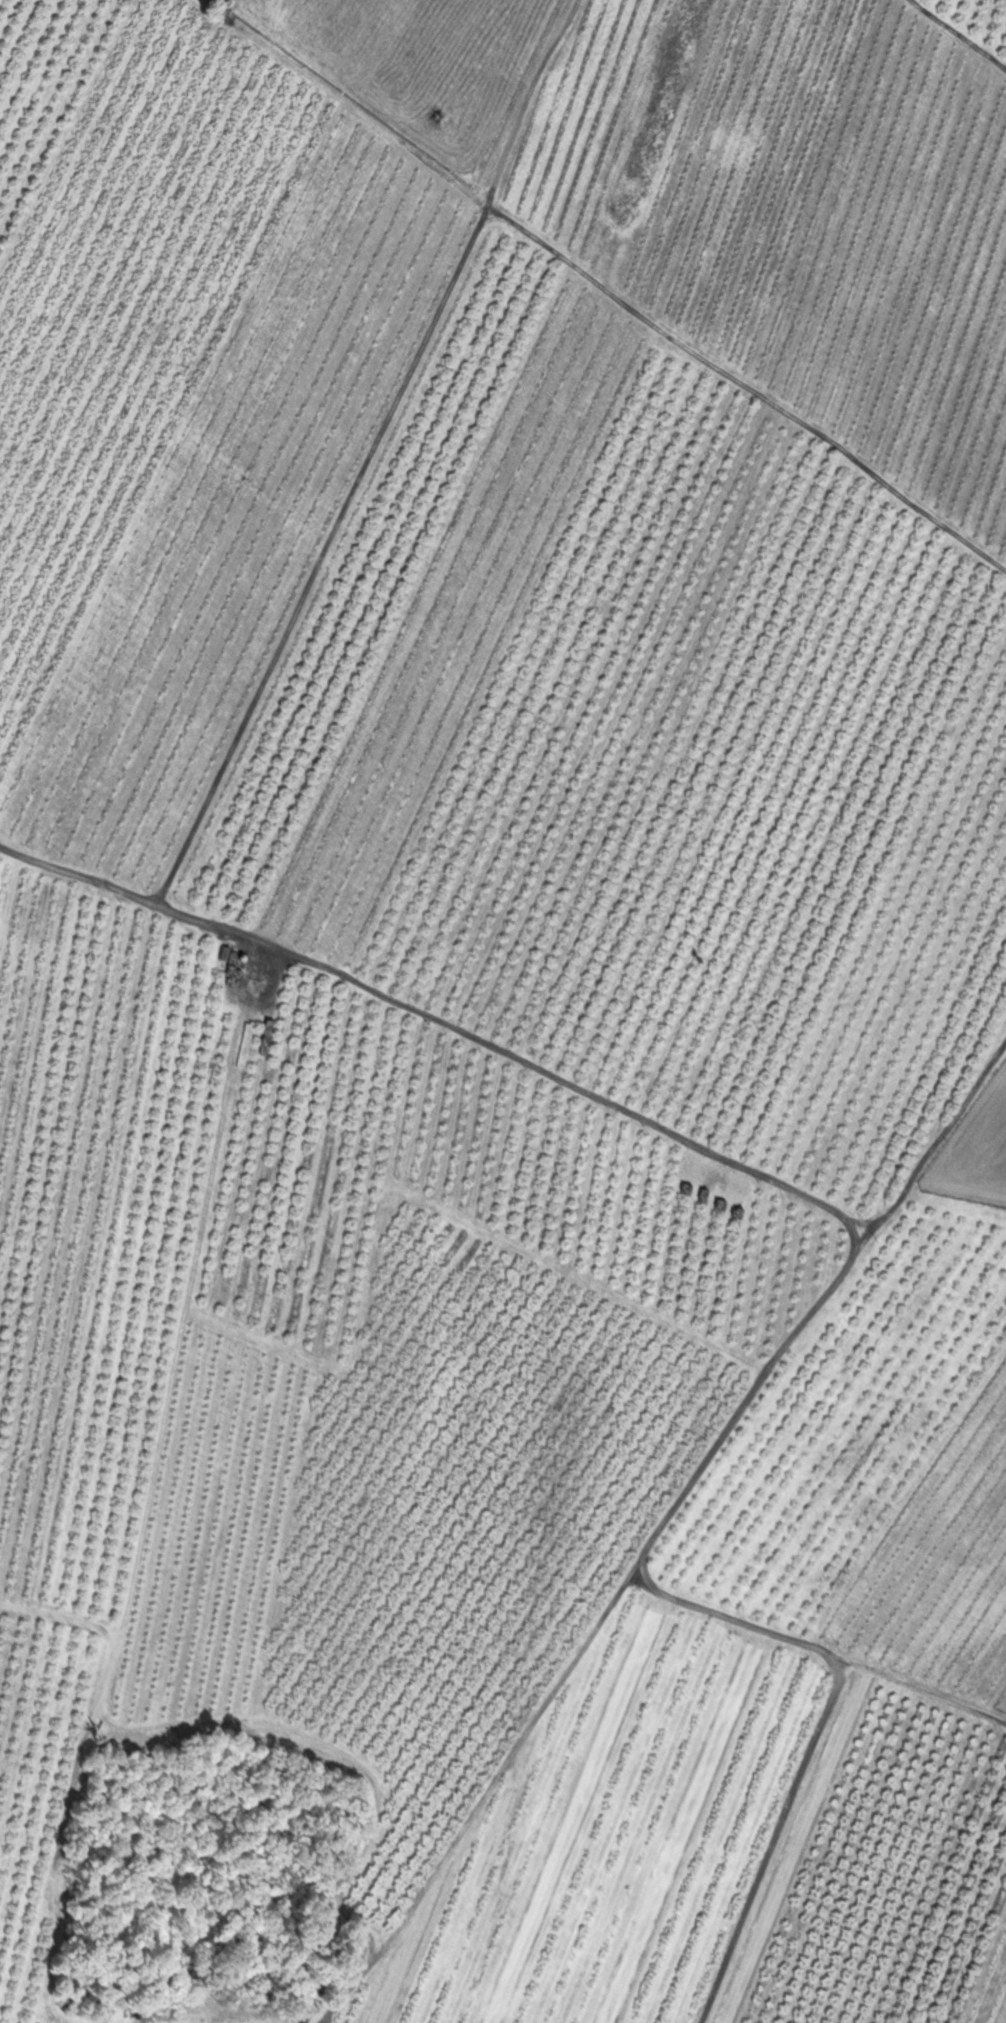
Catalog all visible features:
road: (841, 1260)

